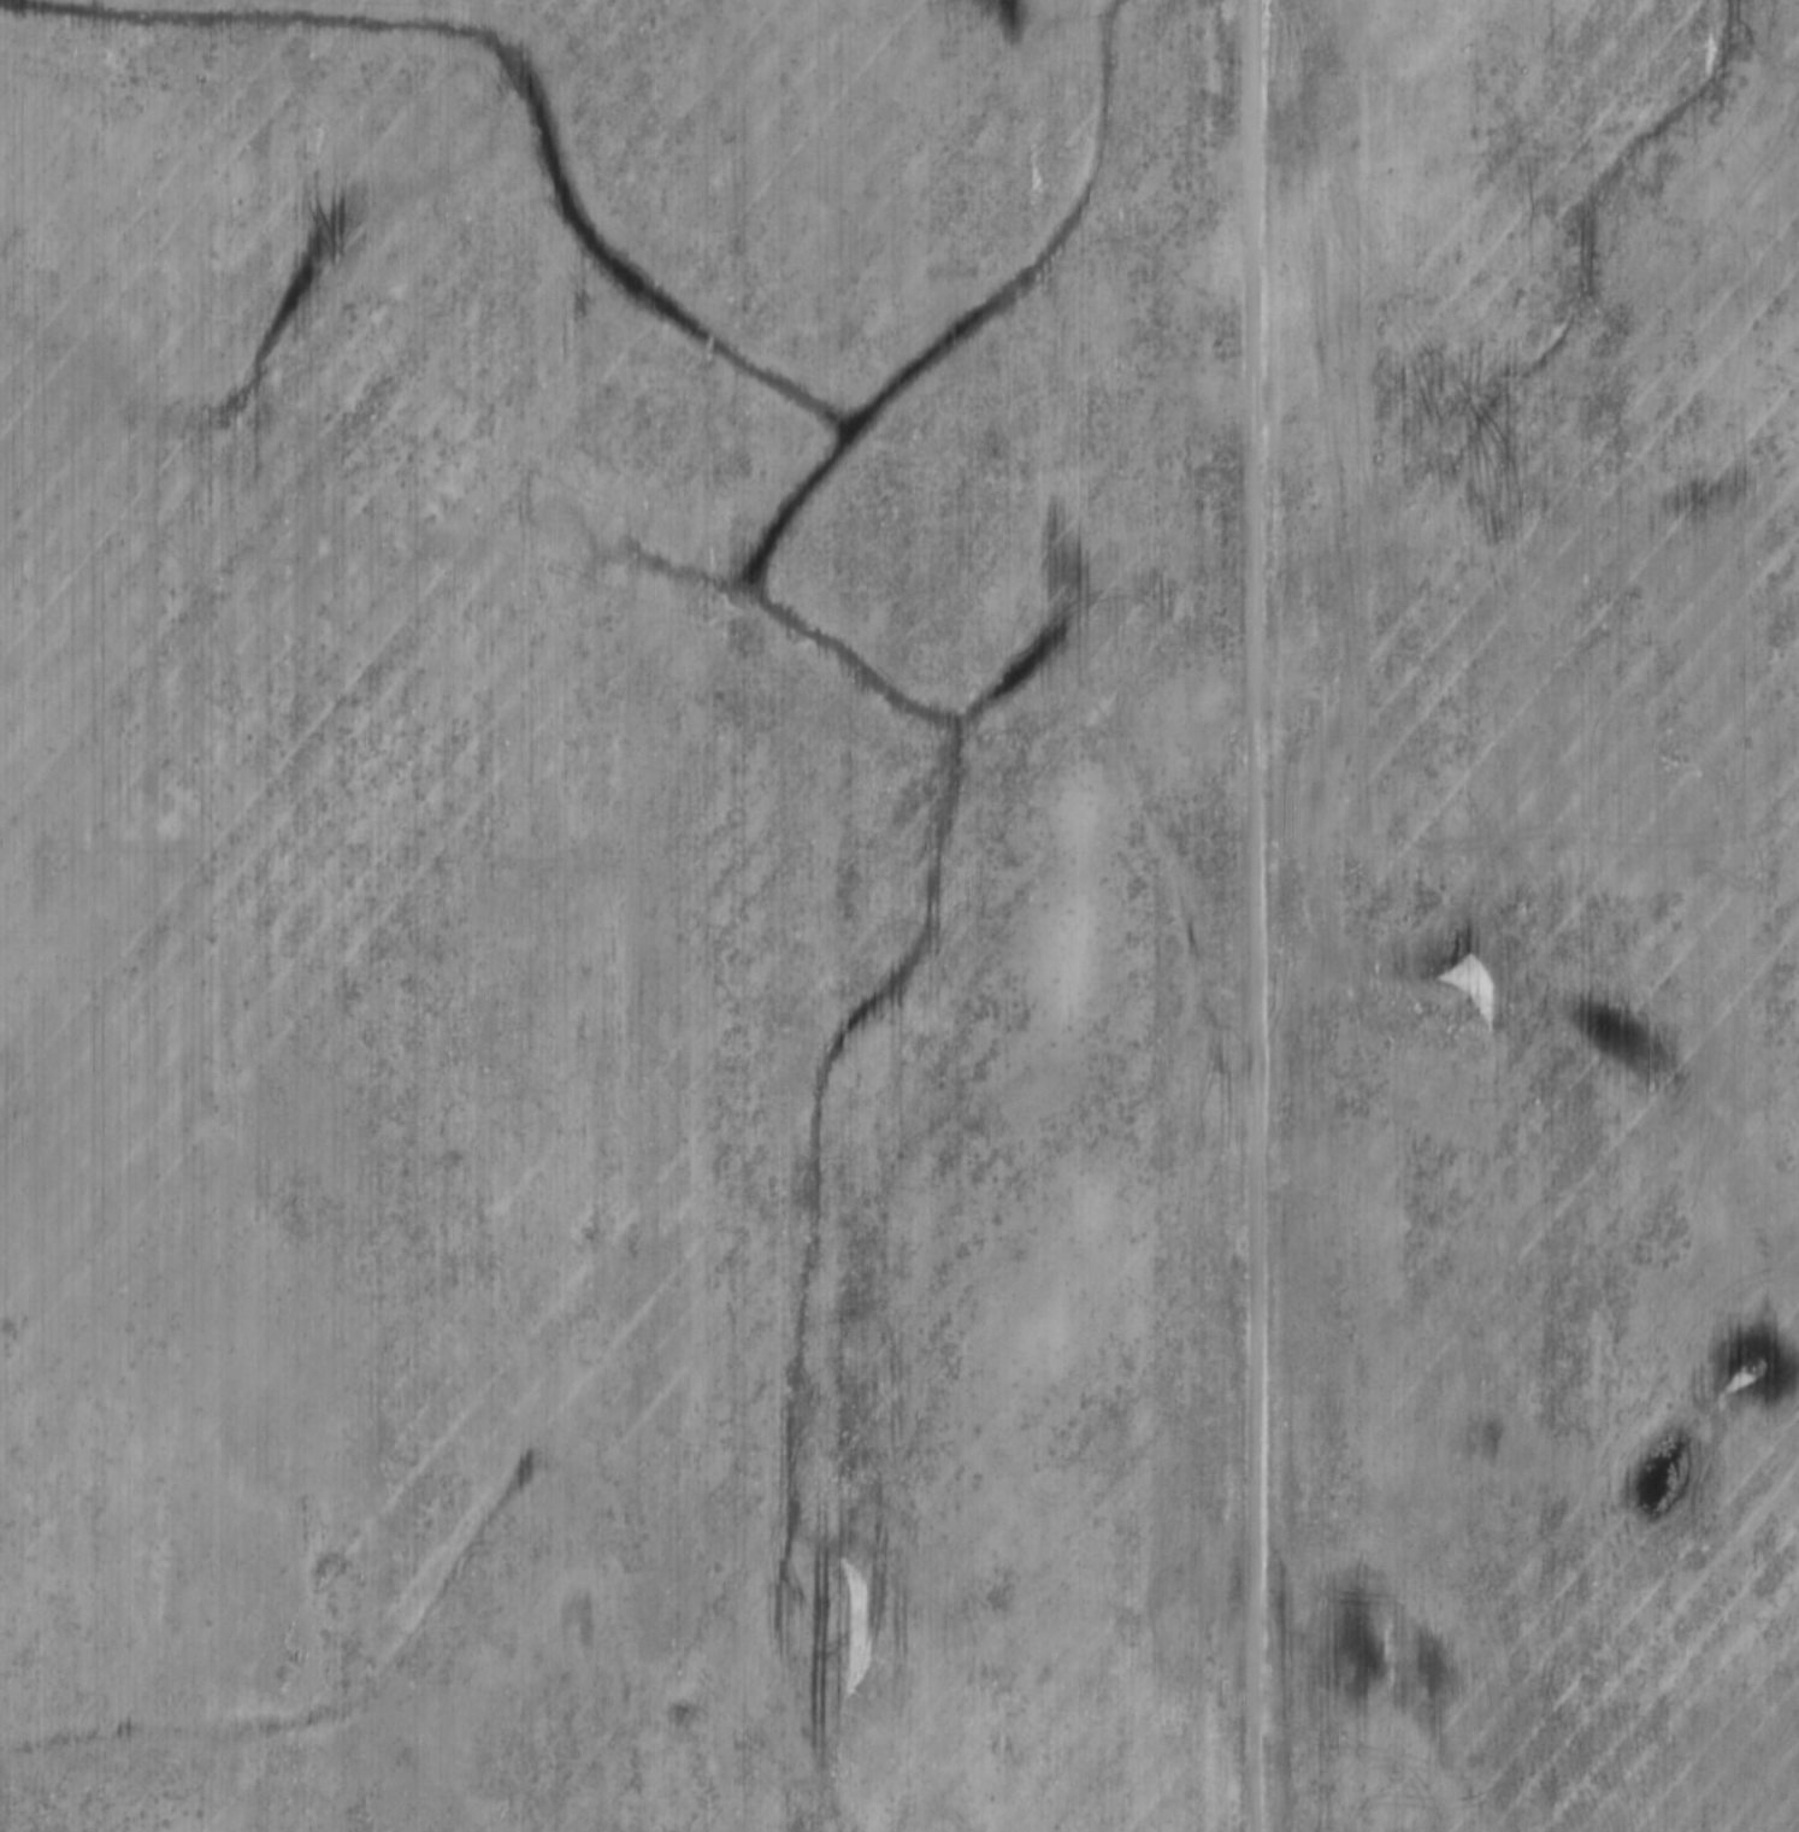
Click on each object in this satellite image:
road: (1257, 915)

